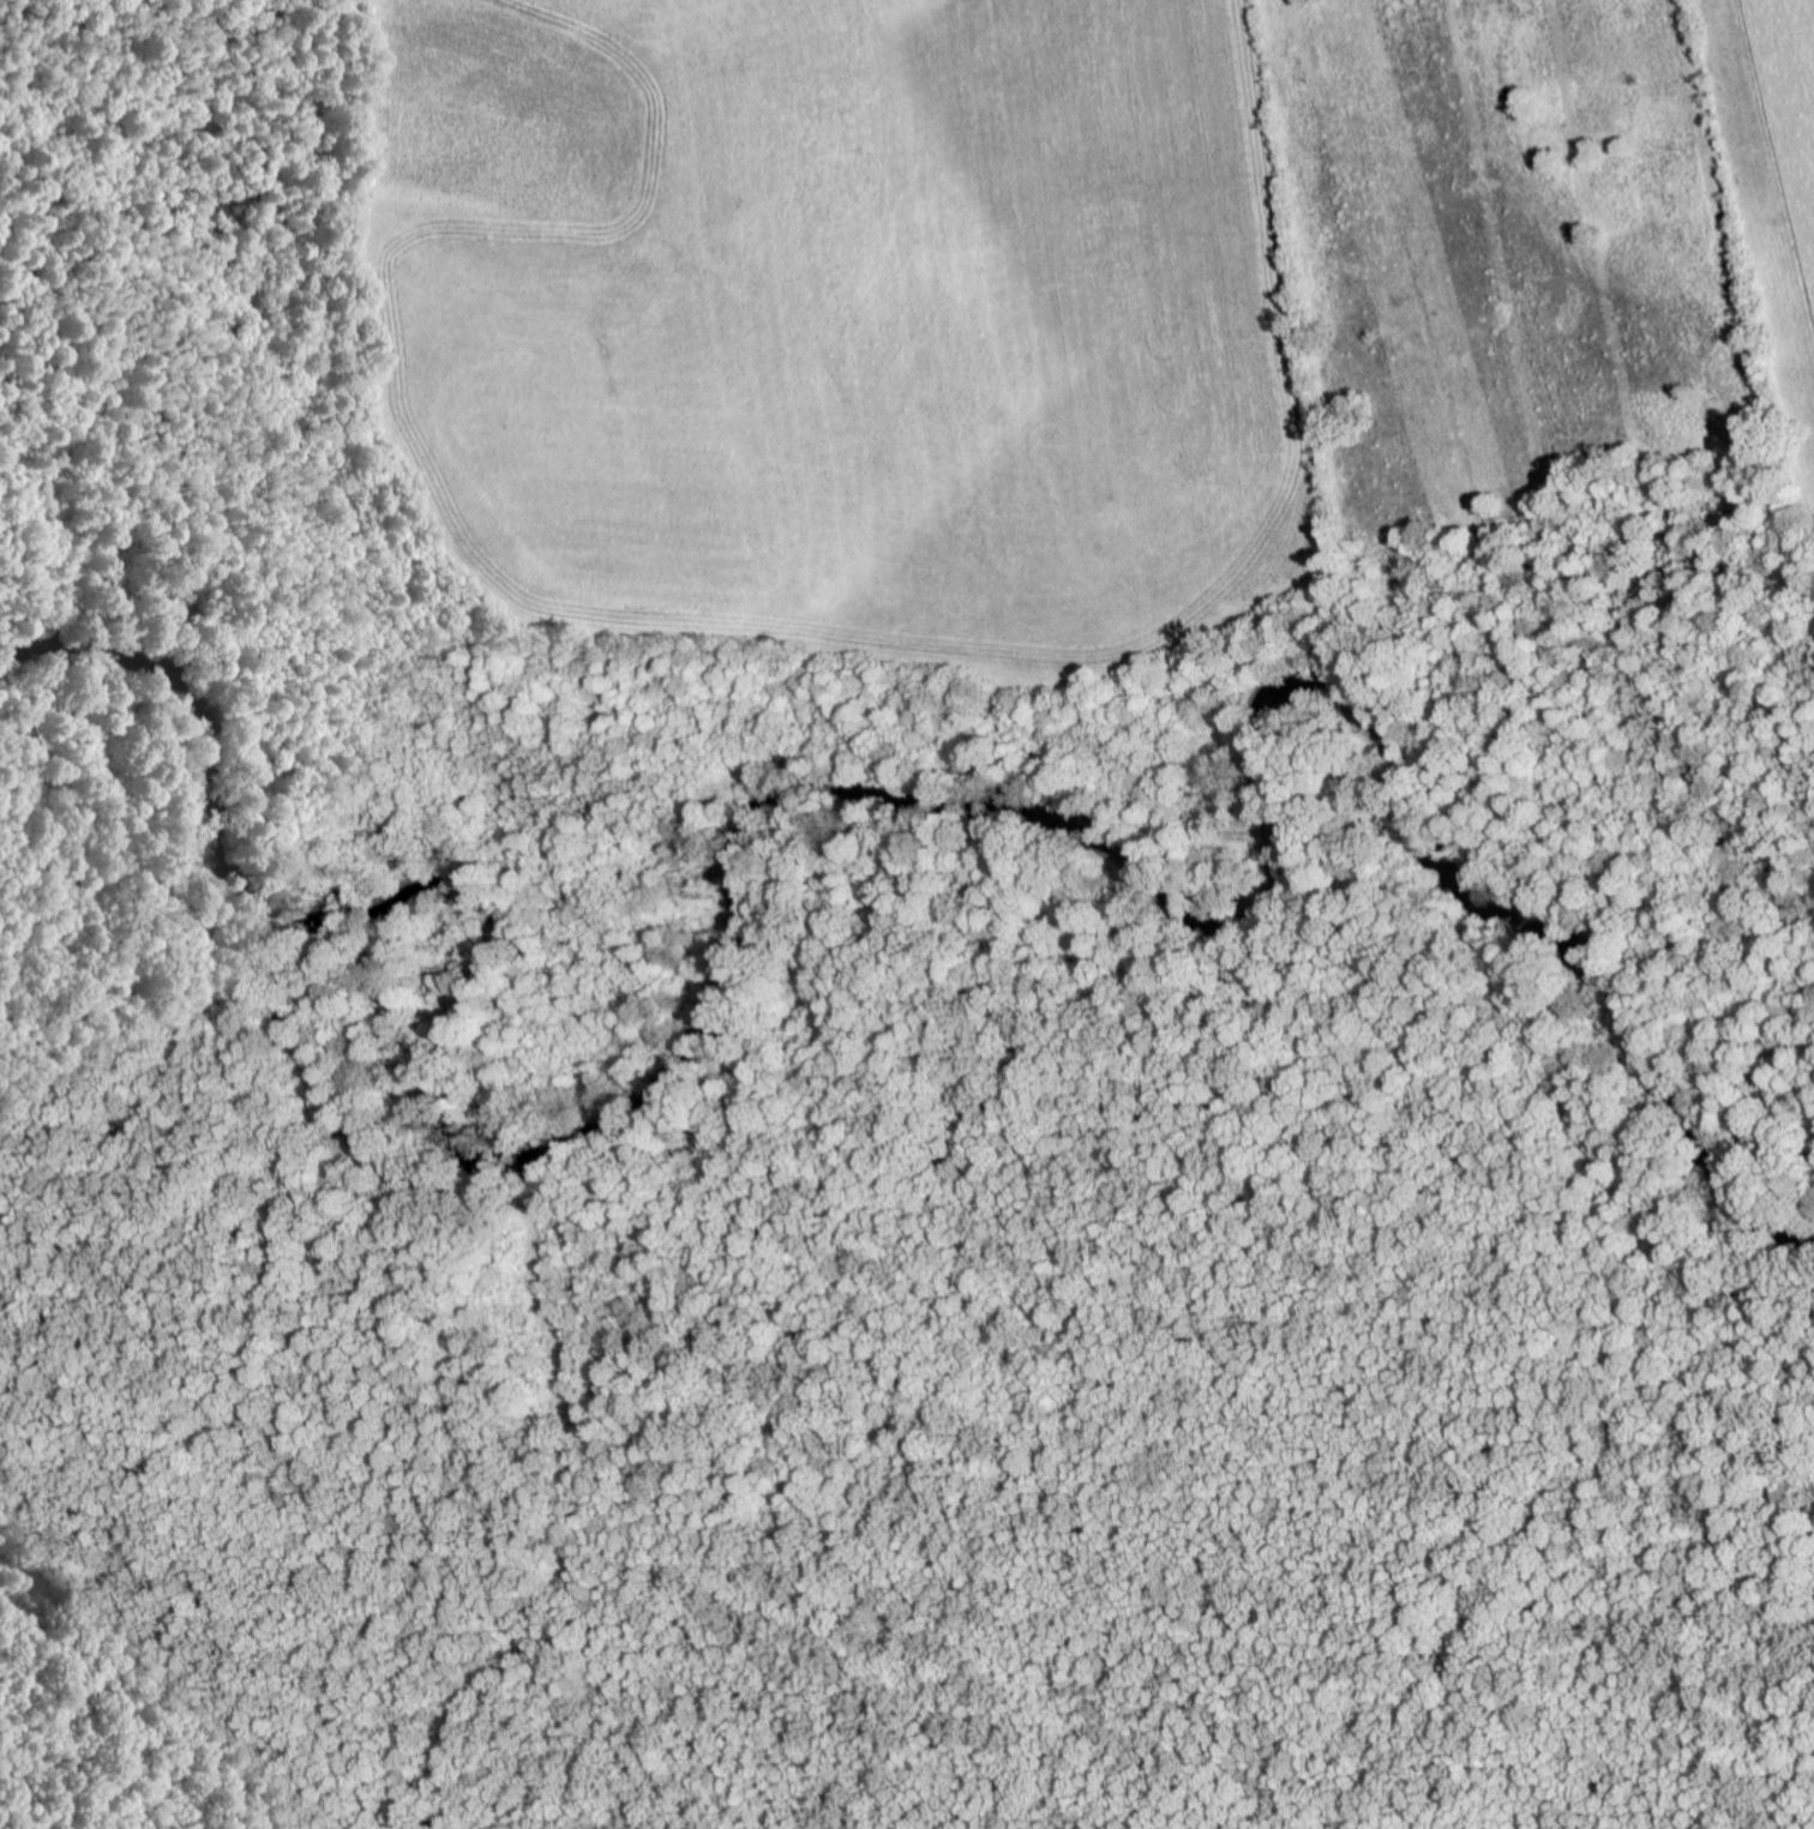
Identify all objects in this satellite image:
river: (787, 794)

